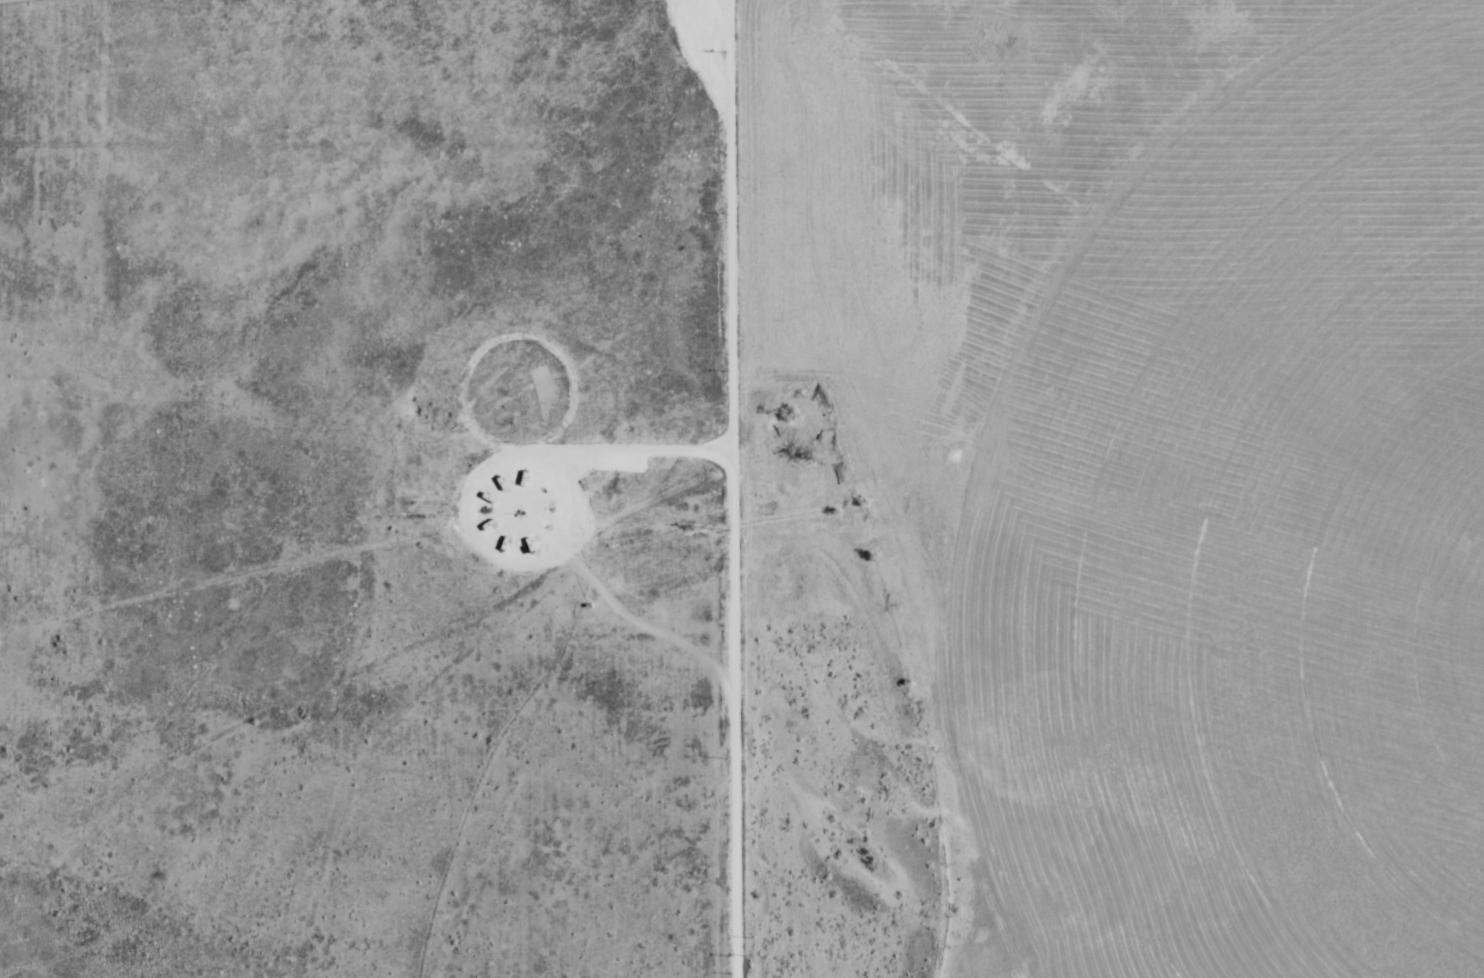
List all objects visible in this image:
road: (737, 488)

